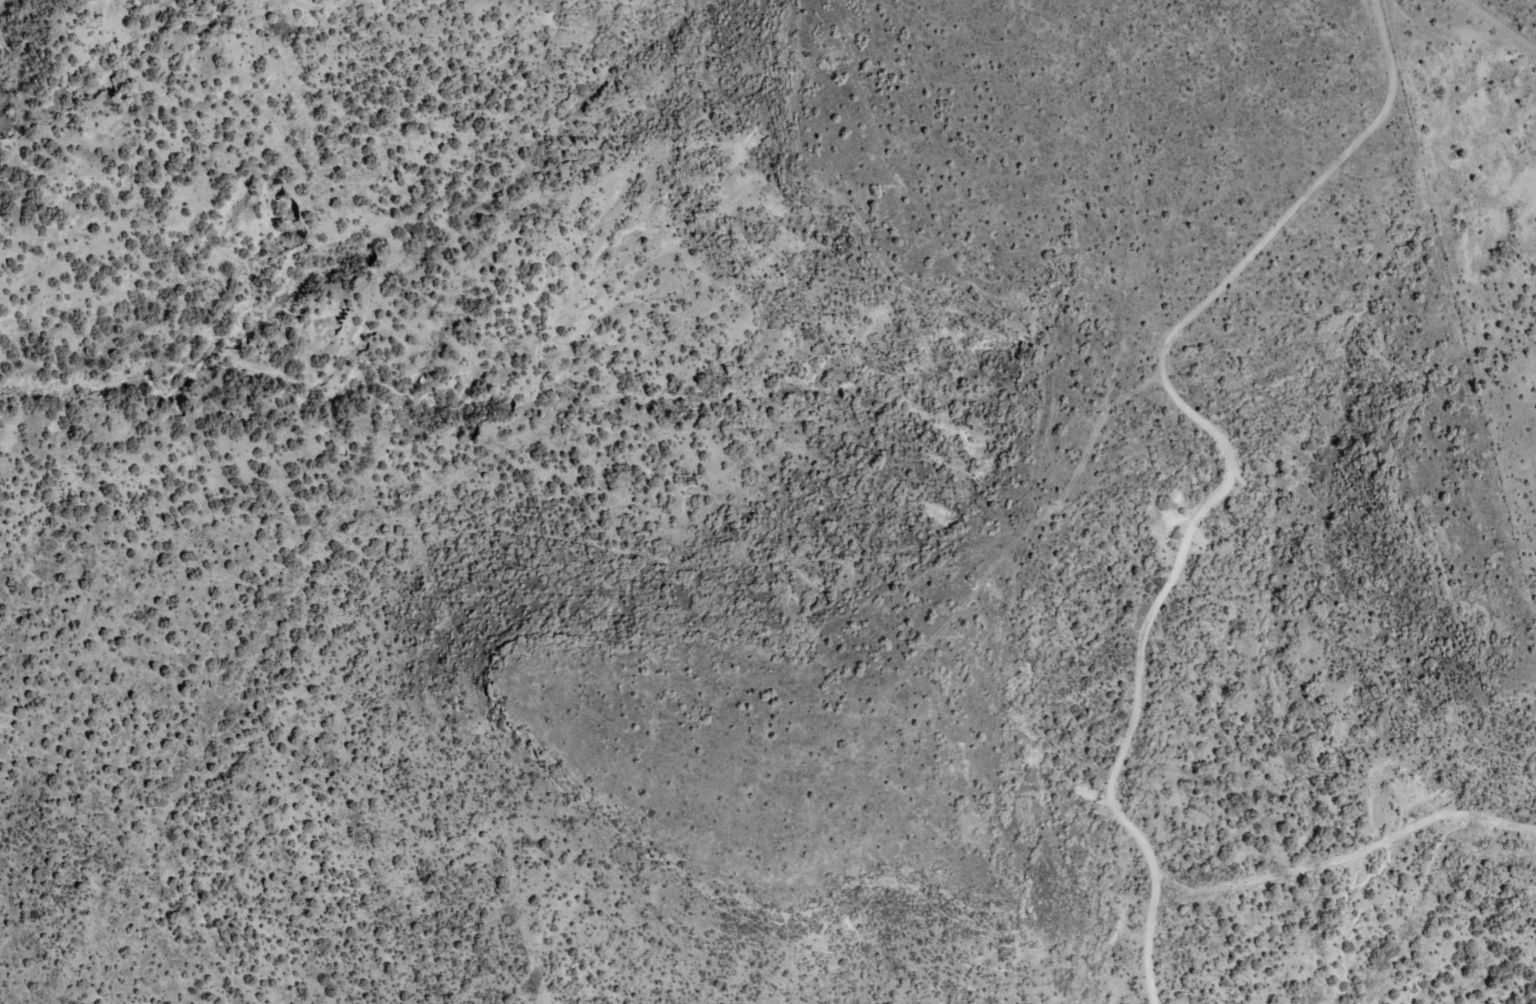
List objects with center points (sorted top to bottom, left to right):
road: (1487, 35)

